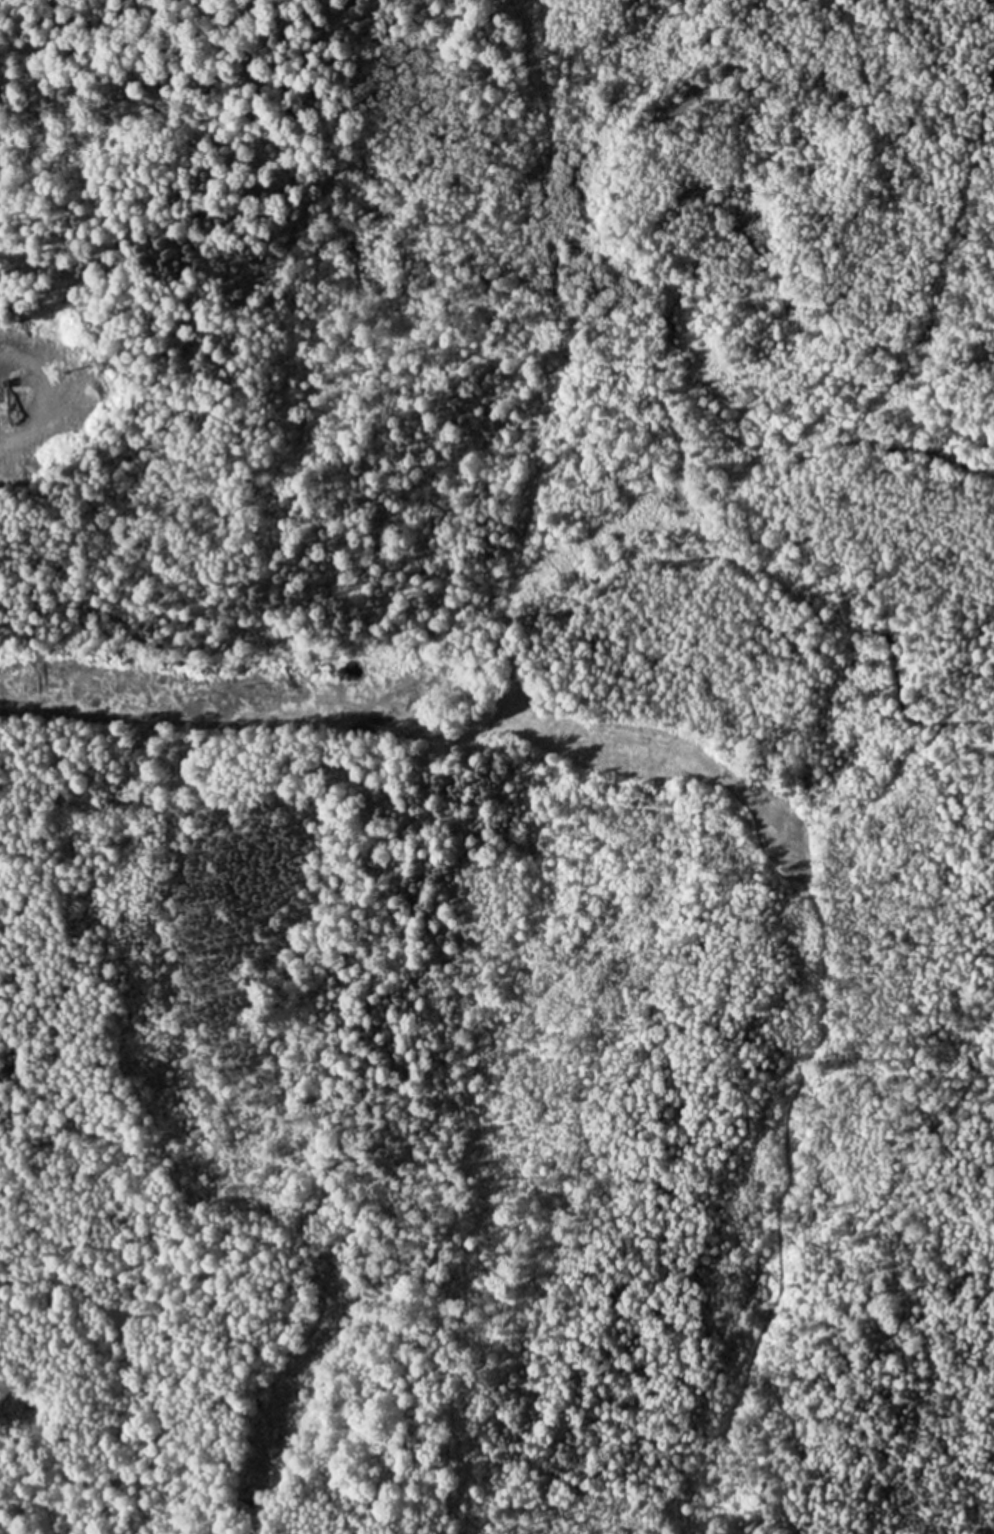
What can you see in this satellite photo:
quarry: (60, 387)

